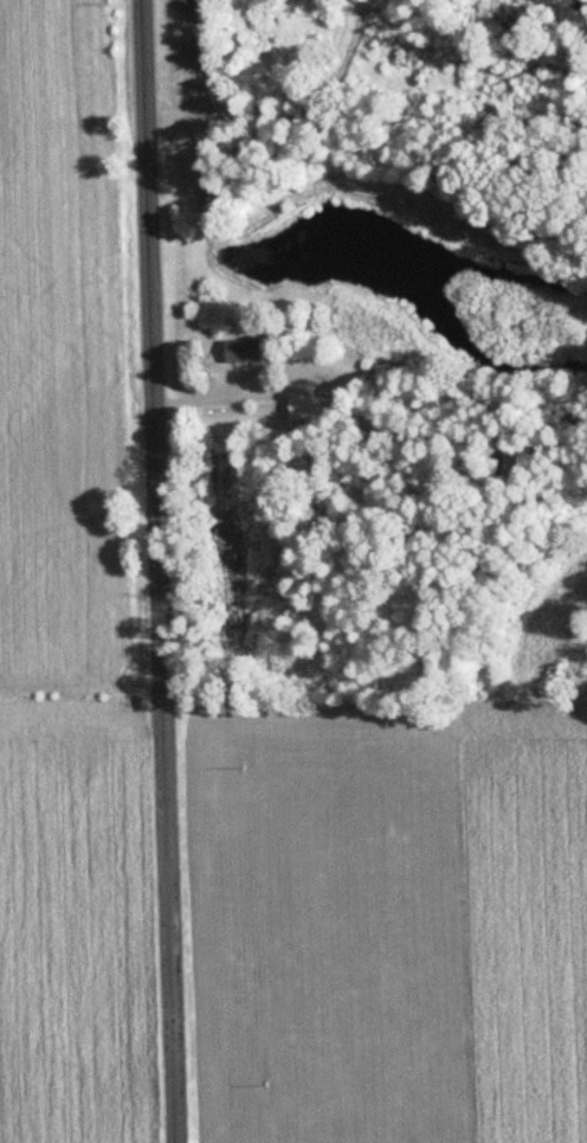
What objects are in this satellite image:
building: (241, 351)
building: (309, 407)
road: (162, 571)

